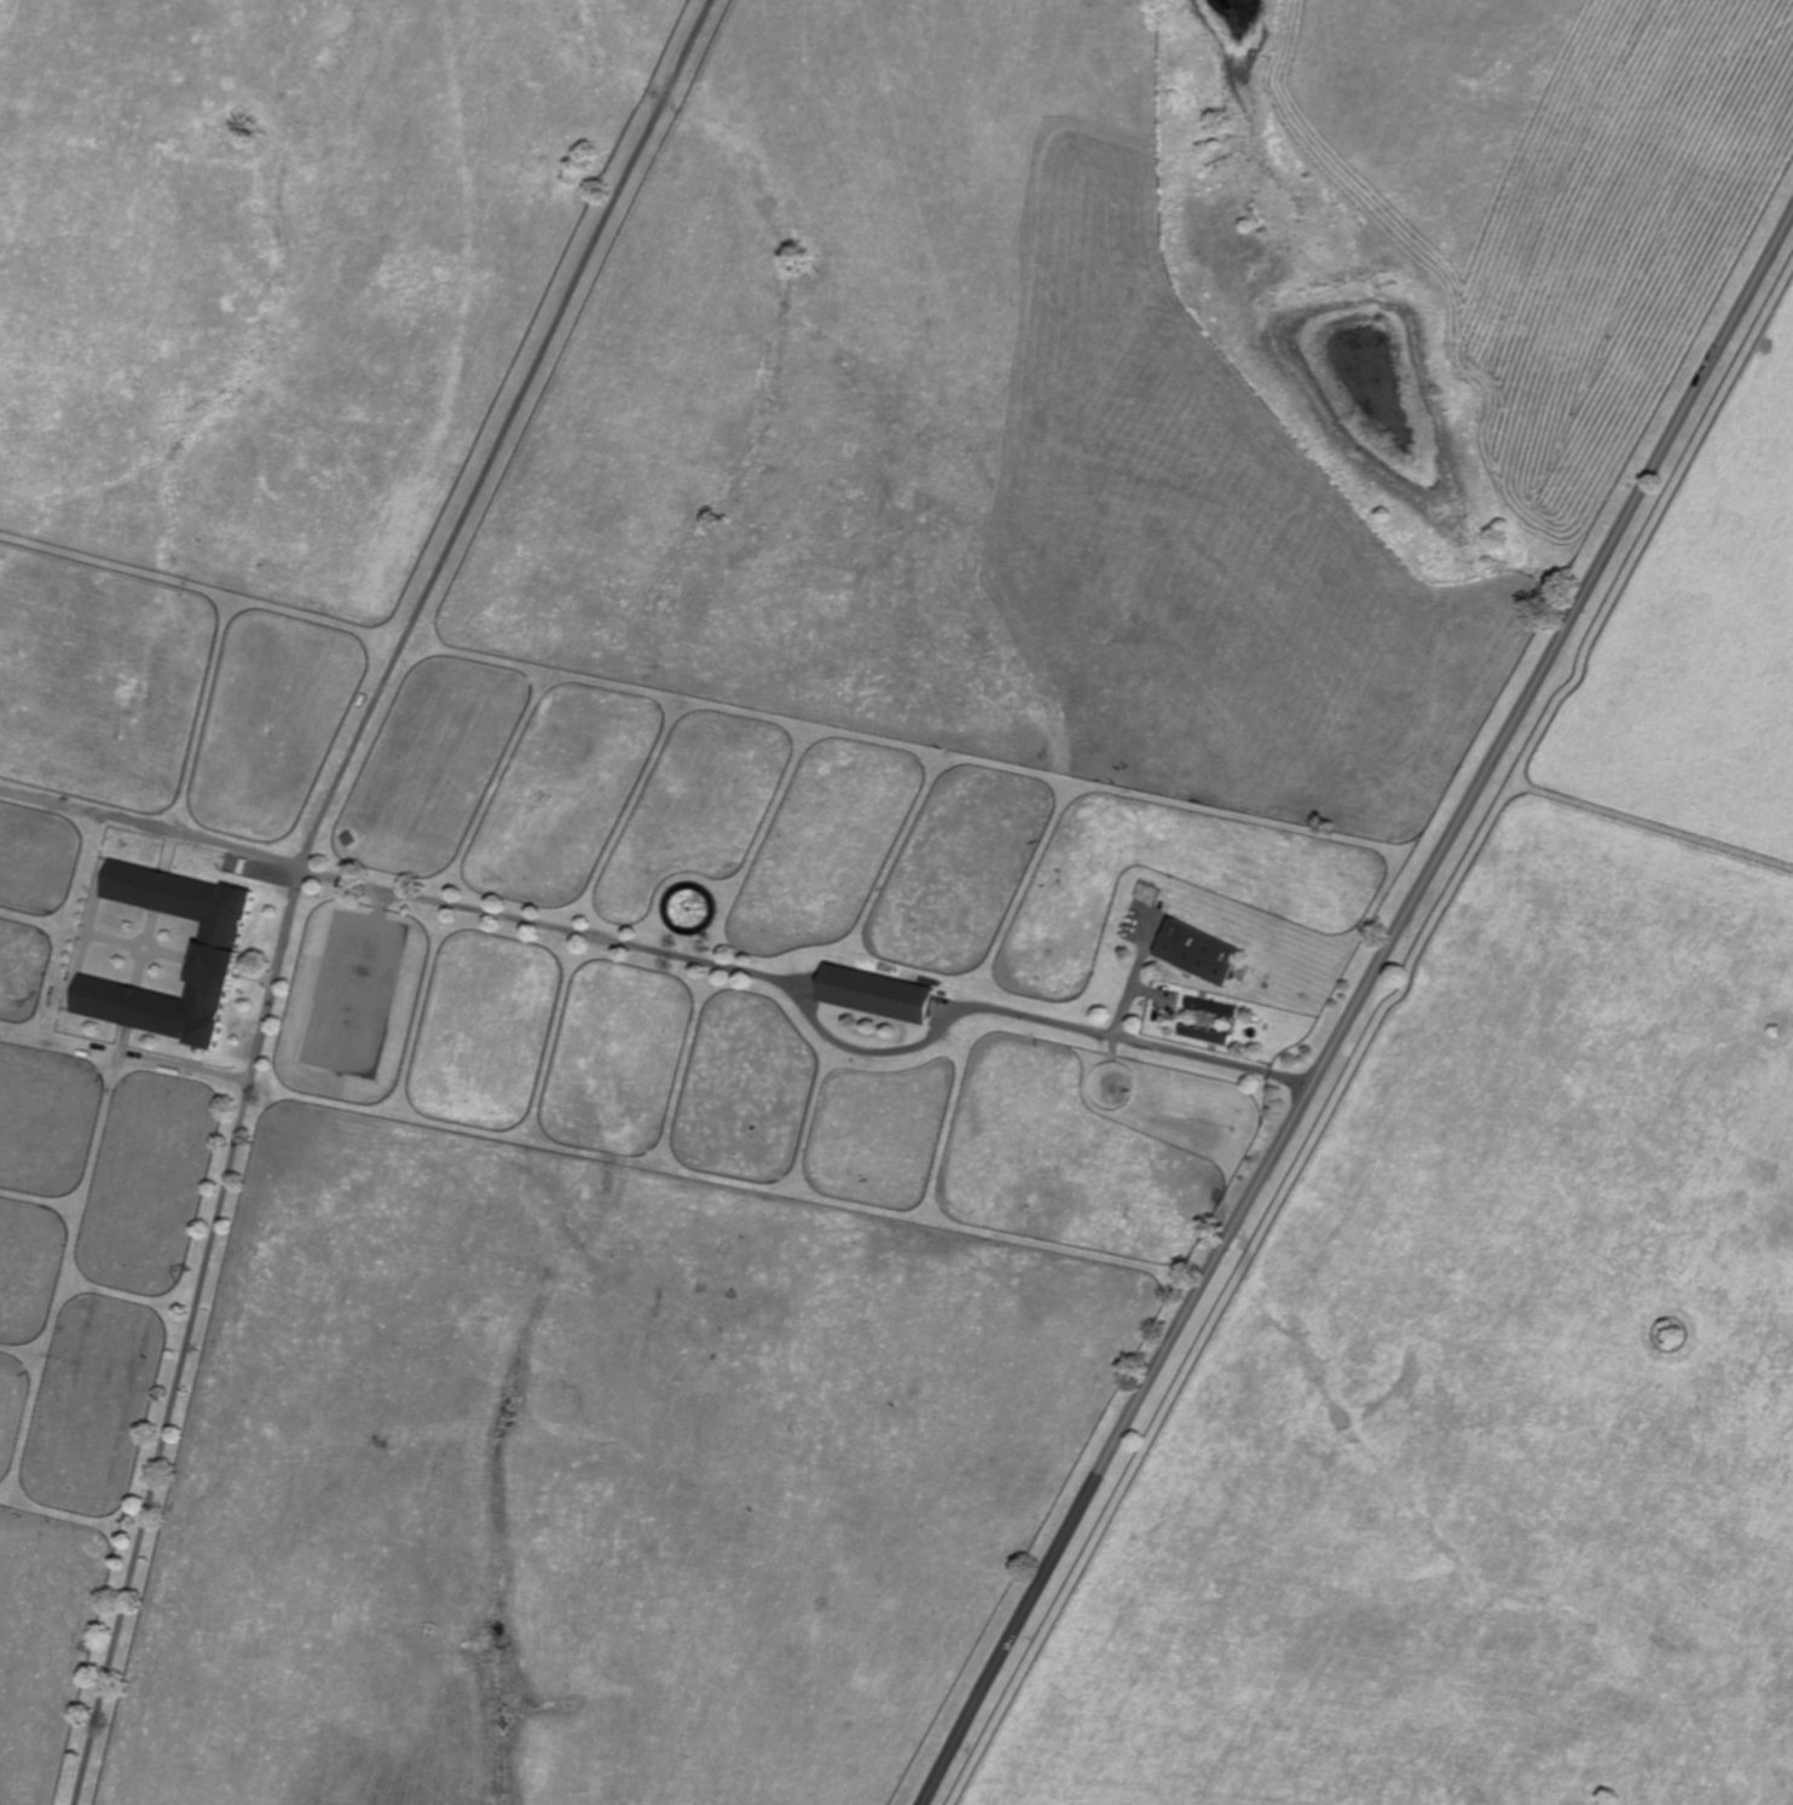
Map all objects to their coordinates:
road: (1451, 837)
road: (300, 869)
building: (206, 906)
building: (191, 964)
building: (878, 991)
road: (811, 1014)
building: (180, 1020)
road: (1016, 1631)

